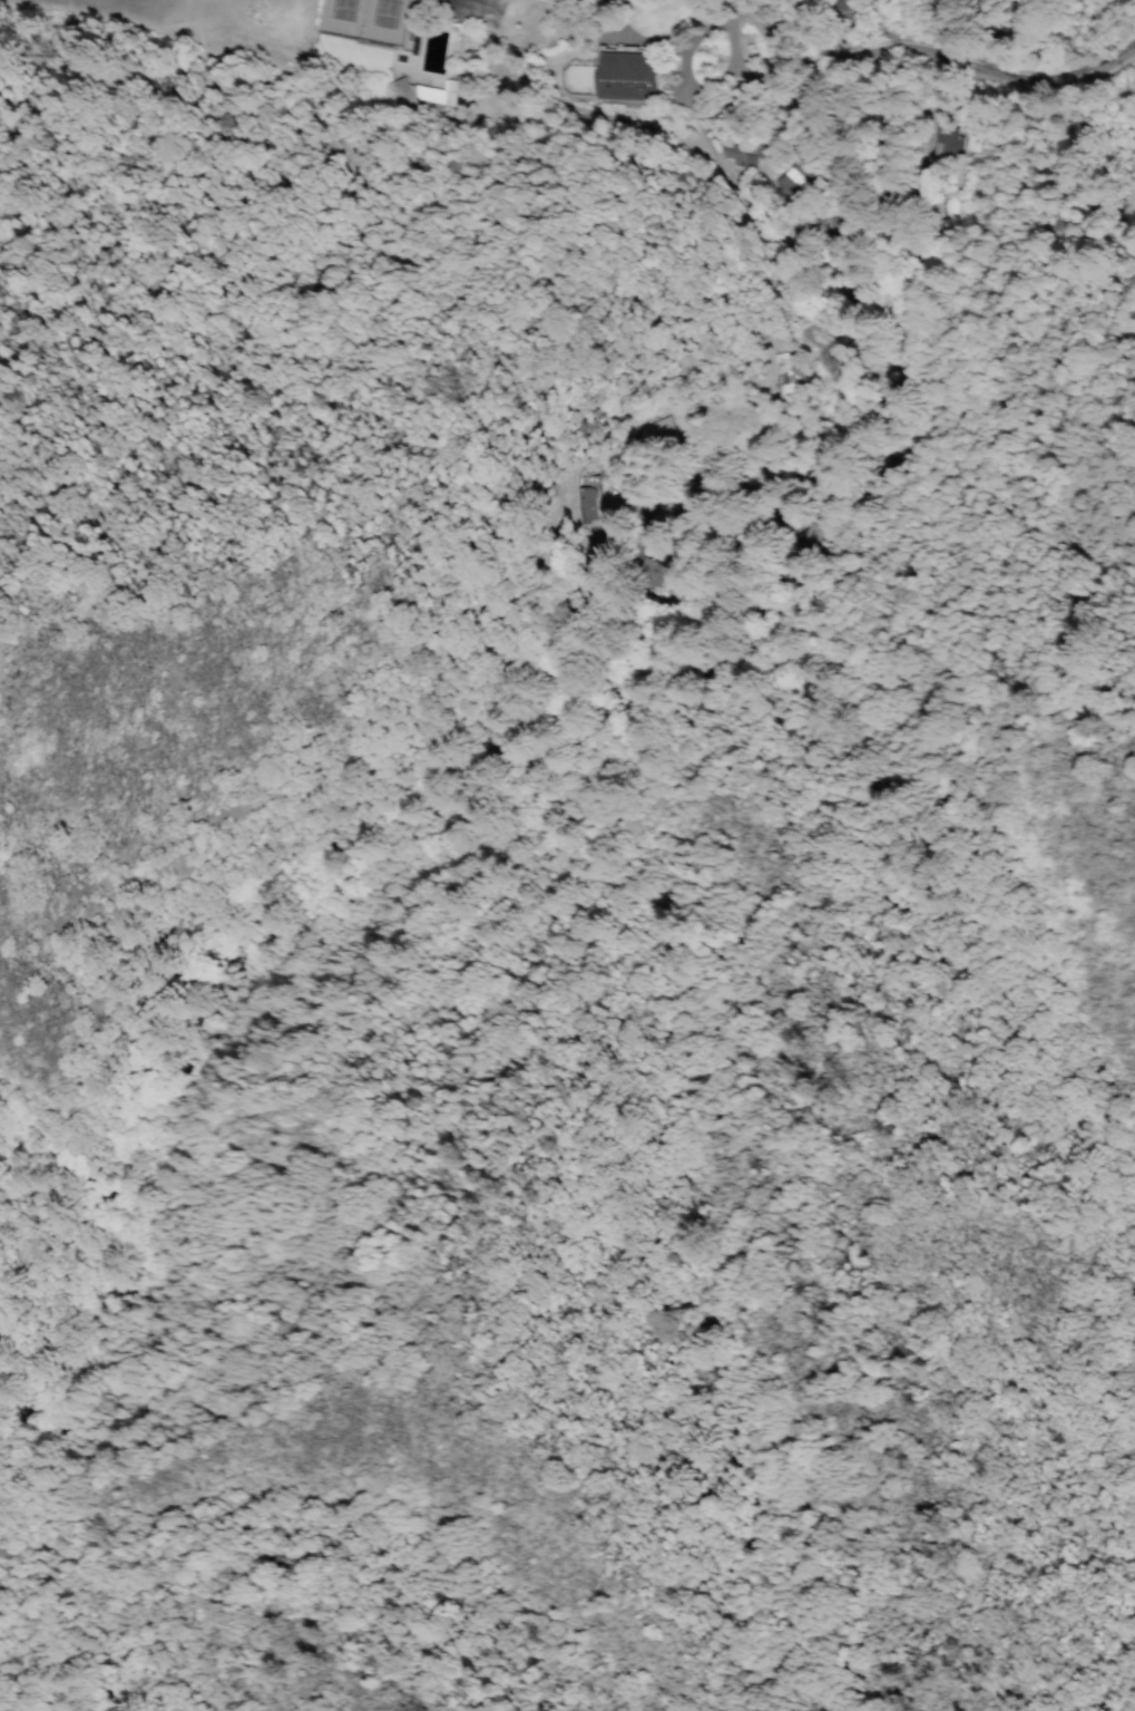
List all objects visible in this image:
road: (725, 8)
park: (471, 12)
park: (366, 18)
road: (943, 58)
building: (625, 74)
building: (403, 89)
building: (434, 95)
building: (813, 187)
road: (28, 1252)

